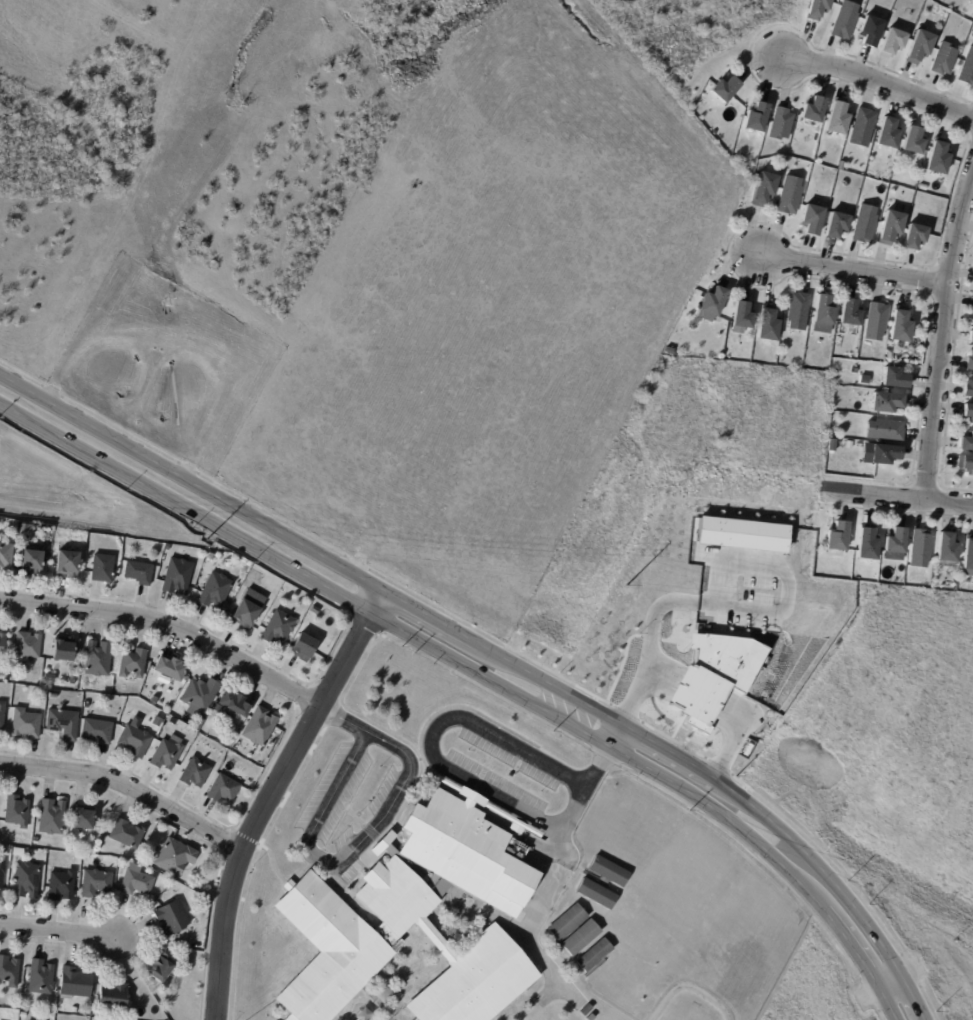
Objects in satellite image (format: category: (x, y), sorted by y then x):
building: (819, 9)
building: (844, 21)
building: (870, 31)
building: (972, 34)
building: (894, 41)
building: (920, 48)
building: (944, 59)
building: (967, 70)
road: (868, 78)
building: (725, 90)
building: (814, 111)
building: (757, 118)
building: (837, 118)
building: (781, 124)
building: (862, 127)
building: (888, 135)
building: (913, 142)
building: (938, 158)
building: (923, 188)
building: (764, 190)
building: (790, 197)
building: (813, 220)
building: (837, 225)
building: (865, 225)
building: (891, 229)
building: (915, 237)
road: (852, 272)
building: (714, 302)
building: (972, 306)
building: (824, 310)
building: (798, 312)
building: (850, 314)
building: (742, 318)
building: (876, 321)
building: (705, 323)
building: (768, 325)
building: (900, 326)
road: (942, 335)
building: (971, 338)
building: (890, 356)
building: (731, 359)
building: (970, 363)
building: (895, 379)
building: (969, 388)
building: (887, 403)
building: (968, 414)
building: (885, 431)
building: (967, 445)
building: (885, 456)
building: (965, 465)
road: (192, 483)
road: (896, 498)
building: (24, 528)
building: (838, 537)
power tower: (205, 539)
building: (896, 542)
building: (867, 543)
building: (167, 548)
building: (947, 549)
building: (921, 550)
building: (6, 556)
building: (211, 556)
building: (968, 558)
building: (31, 562)
building: (67, 563)
building: (102, 568)
building: (139, 573)
building: (177, 576)
power tower: (624, 585)
building: (215, 591)
building: (248, 609)
road: (438, 622)
road: (169, 625)
building: (278, 629)
road: (421, 641)
building: (2, 645)
building: (27, 647)
building: (304, 648)
building: (64, 650)
building: (97, 659)
building: (132, 663)
building: (171, 669)
building: (2, 673)
building: (50, 678)
road: (556, 687)
building: (54, 696)
building: (200, 696)
building: (234, 705)
building: (217, 708)
building: (119, 713)
building: (2, 717)
road: (343, 720)
building: (192, 722)
building: (26, 724)
building: (63, 724)
building: (199, 724)
road: (441, 726)
building: (260, 727)
building: (97, 731)
building: (135, 741)
road: (673, 754)
building: (166, 755)
parking lot: (503, 771)
building: (195, 773)
road: (128, 786)
building: (223, 789)
parking lot: (384, 789)
parking lot: (334, 794)
road: (270, 795)
building: (17, 811)
building: (51, 817)
building: (83, 818)
road: (359, 820)
building: (126, 834)
parking lot: (344, 839)
building: (35, 841)
building: (384, 846)
building: (18, 853)
building: (465, 853)
building: (8, 855)
building: (175, 857)
road: (345, 858)
road: (820, 870)
building: (2, 872)
building: (611, 872)
building: (26, 880)
building: (96, 883)
building: (136, 883)
building: (61, 886)
building: (598, 894)
building: (396, 898)
building: (172, 918)
building: (568, 923)
road: (57, 932)
building: (582, 938)
road: (851, 943)
building: (328, 951)
building: (595, 955)
building: (163, 967)
building: (9, 971)
road: (888, 976)
building: (40, 978)
building: (476, 982)
building: (75, 983)
crop: (820, 988)
building: (114, 994)
road: (914, 995)
road: (888, 1000)
building: (74, 1011)
building: (586, 1011)
building: (23, 1016)
building: (591, 1017)

